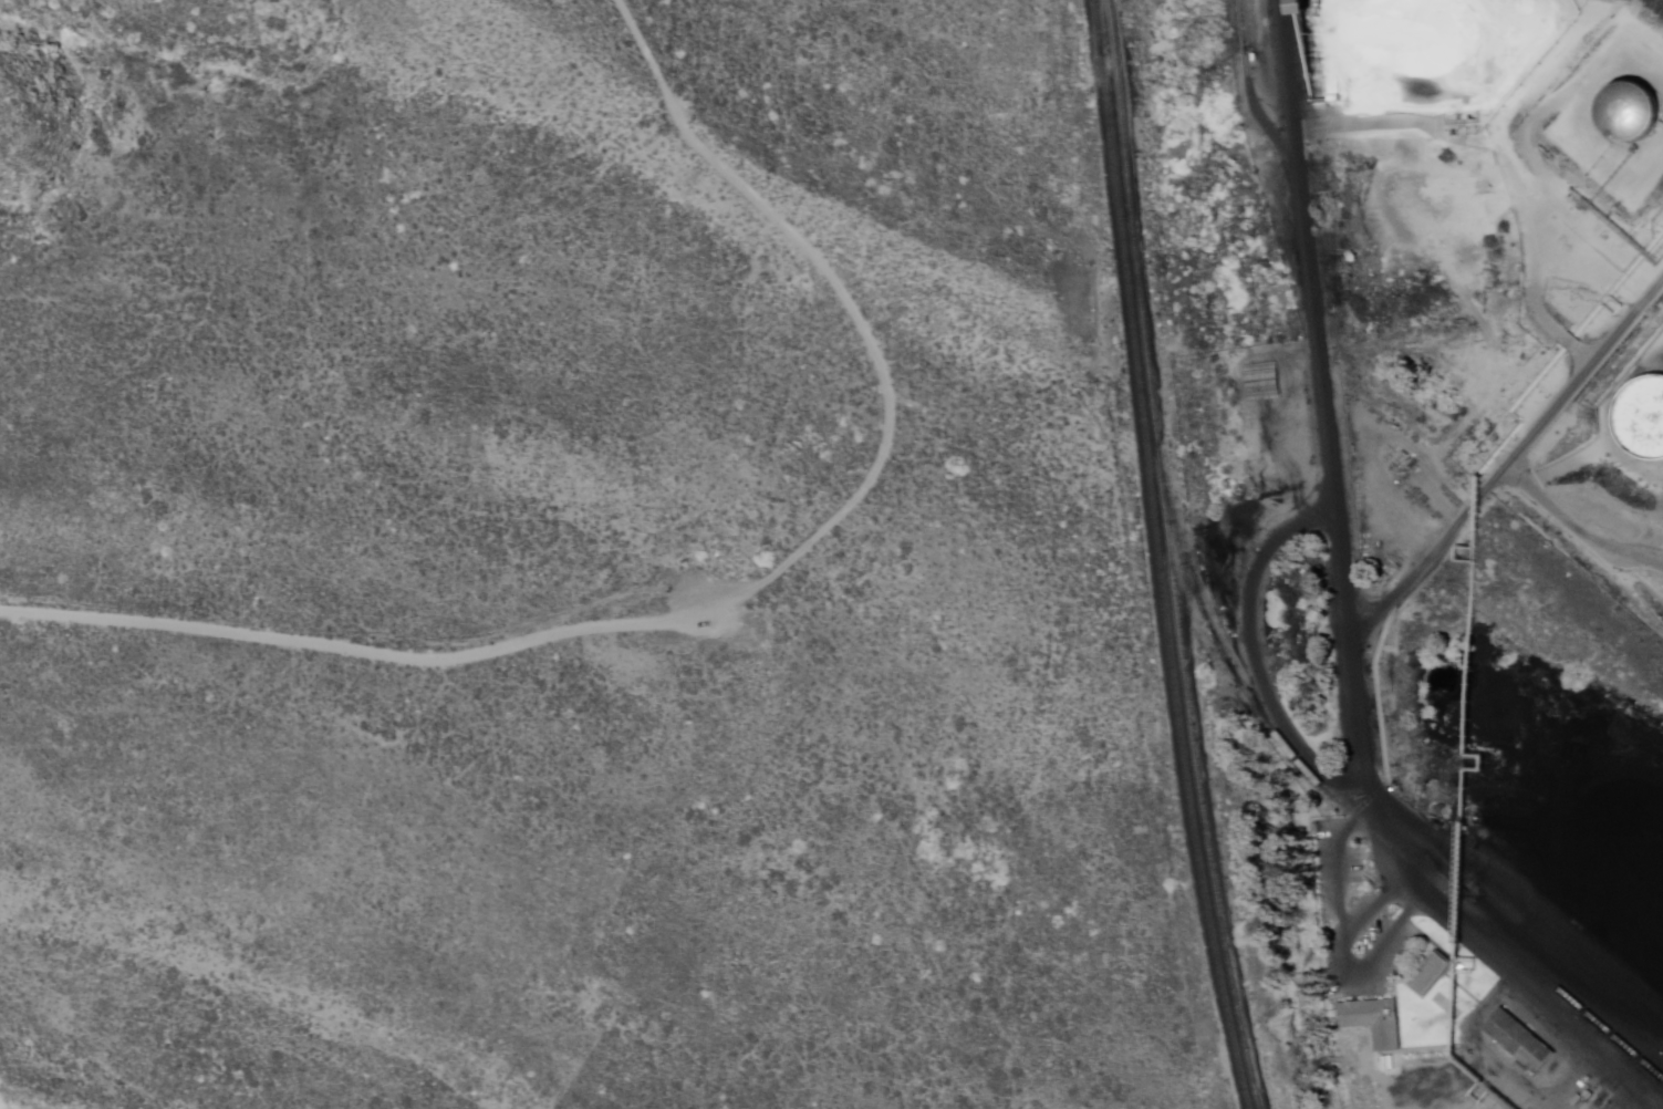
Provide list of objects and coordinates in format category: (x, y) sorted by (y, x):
railway: (1099, 27)
building: (1628, 111)
storage tank: (1628, 111)
road: (1515, 156)
road: (1321, 314)
building: (1248, 370)
building: (1650, 411)
road: (1513, 455)
road: (1574, 530)
railway: (1161, 556)
railway: (1171, 557)
park: (562, 566)
road: (741, 593)
road: (1383, 800)
railway: (1363, 820)
building: (1433, 974)
building: (1376, 1020)
building: (1522, 1043)
railway: (1634, 1056)

